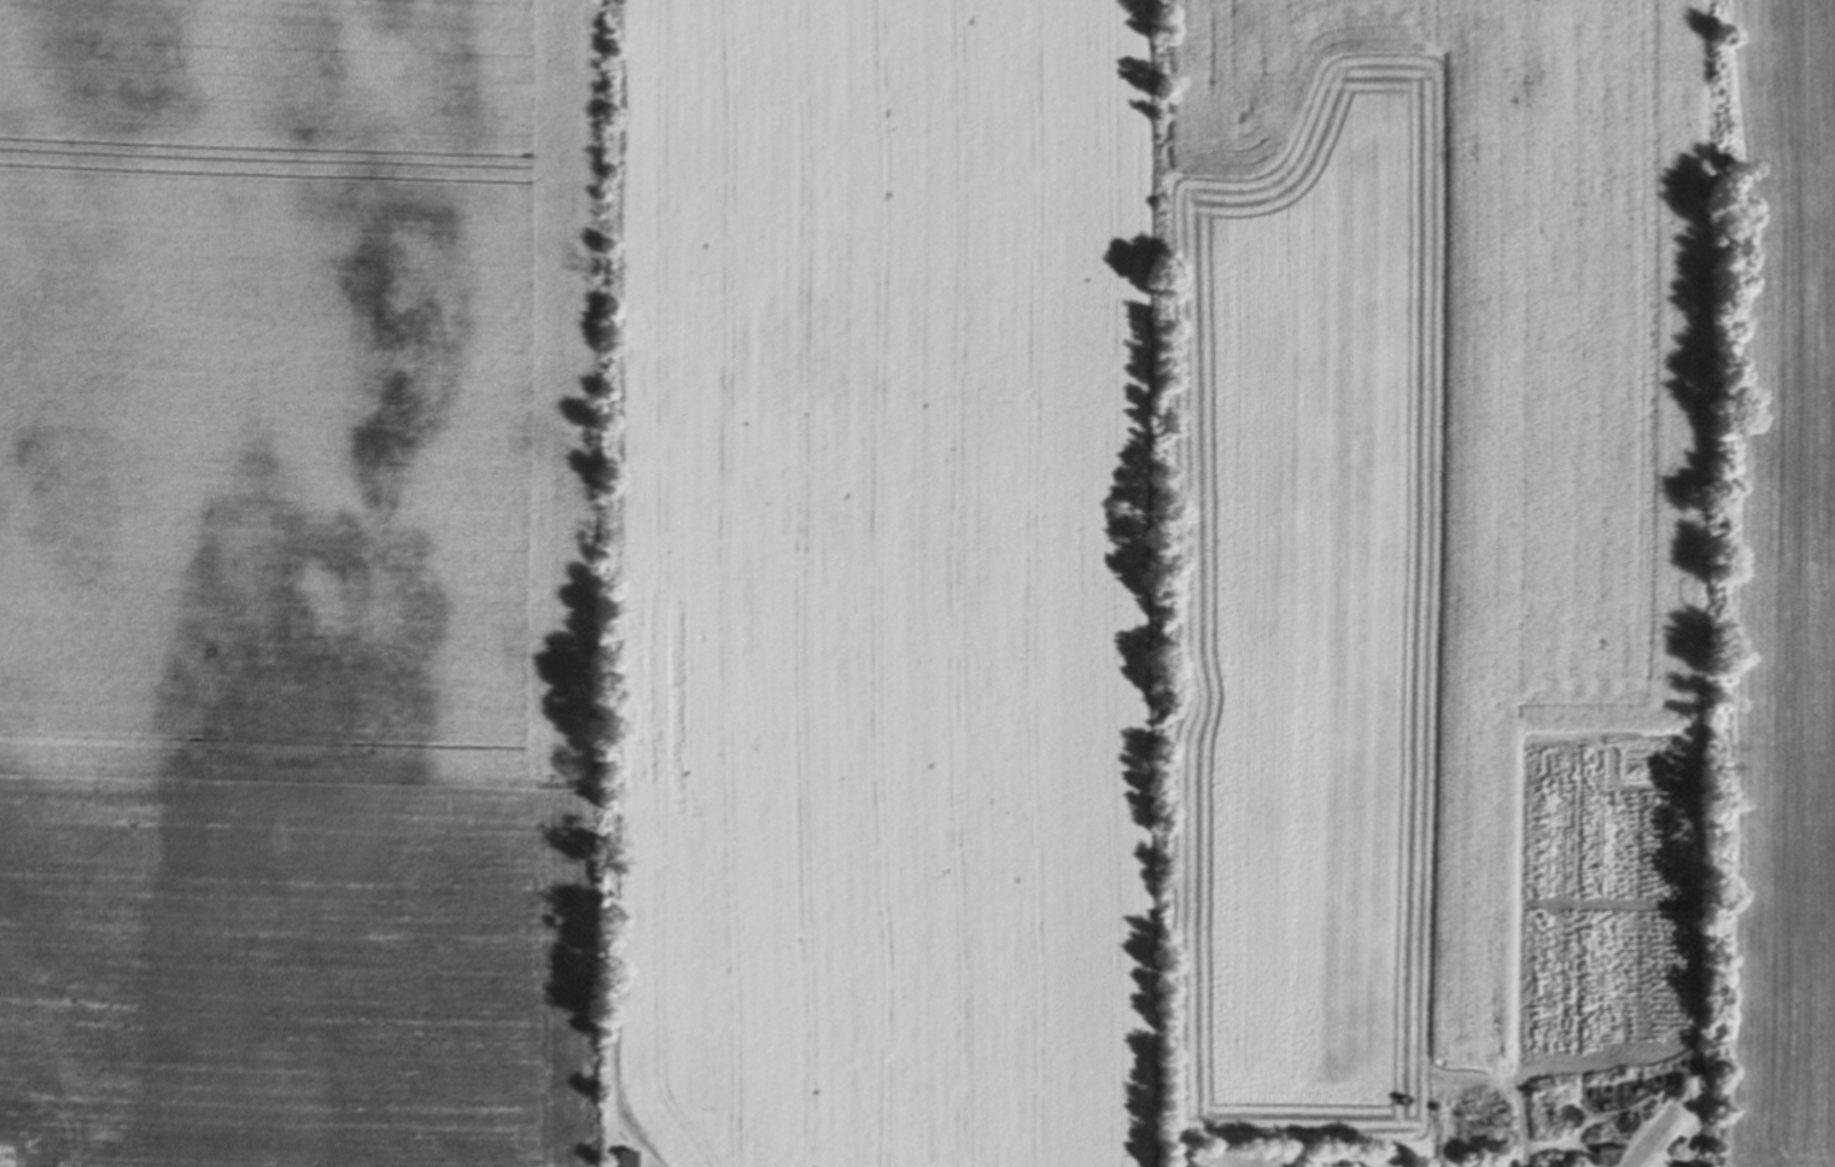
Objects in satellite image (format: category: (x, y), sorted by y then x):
building: (616, 1159)

